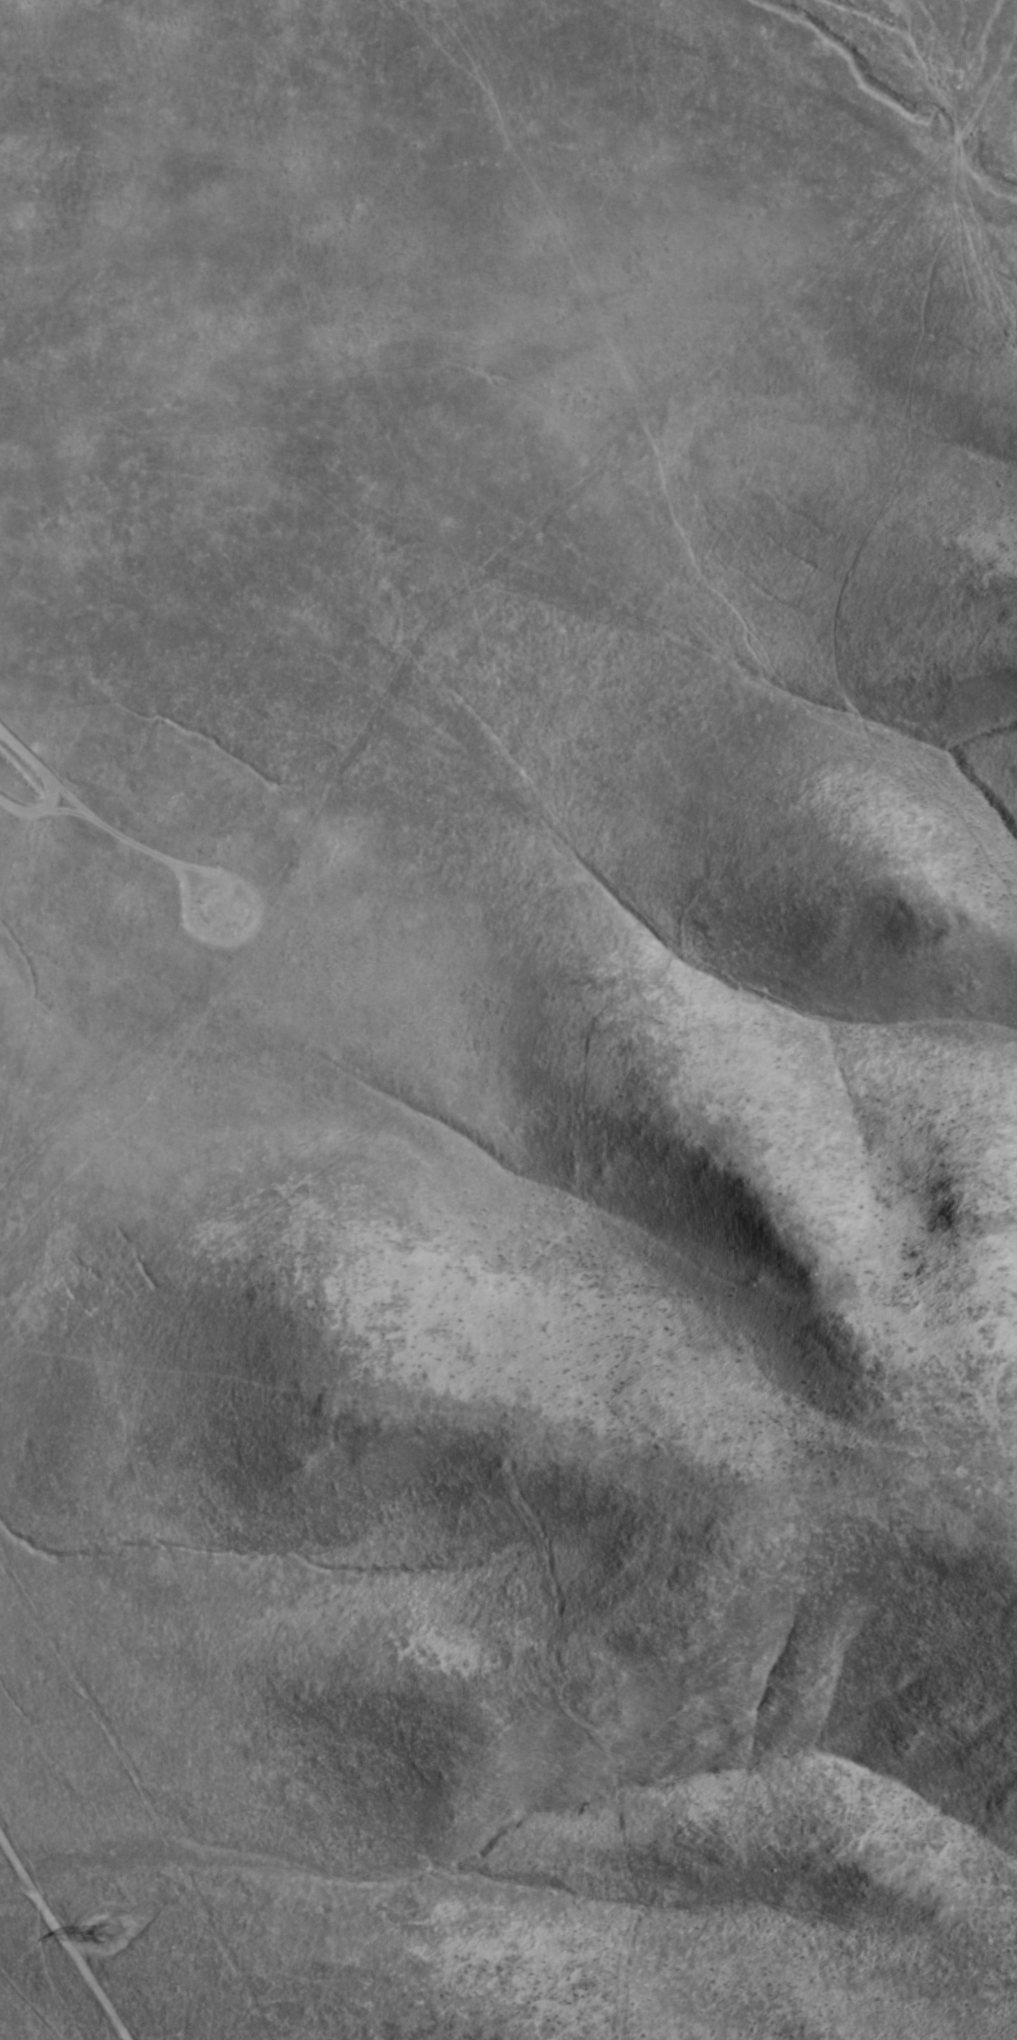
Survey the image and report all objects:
power tower: (108, 1934)

